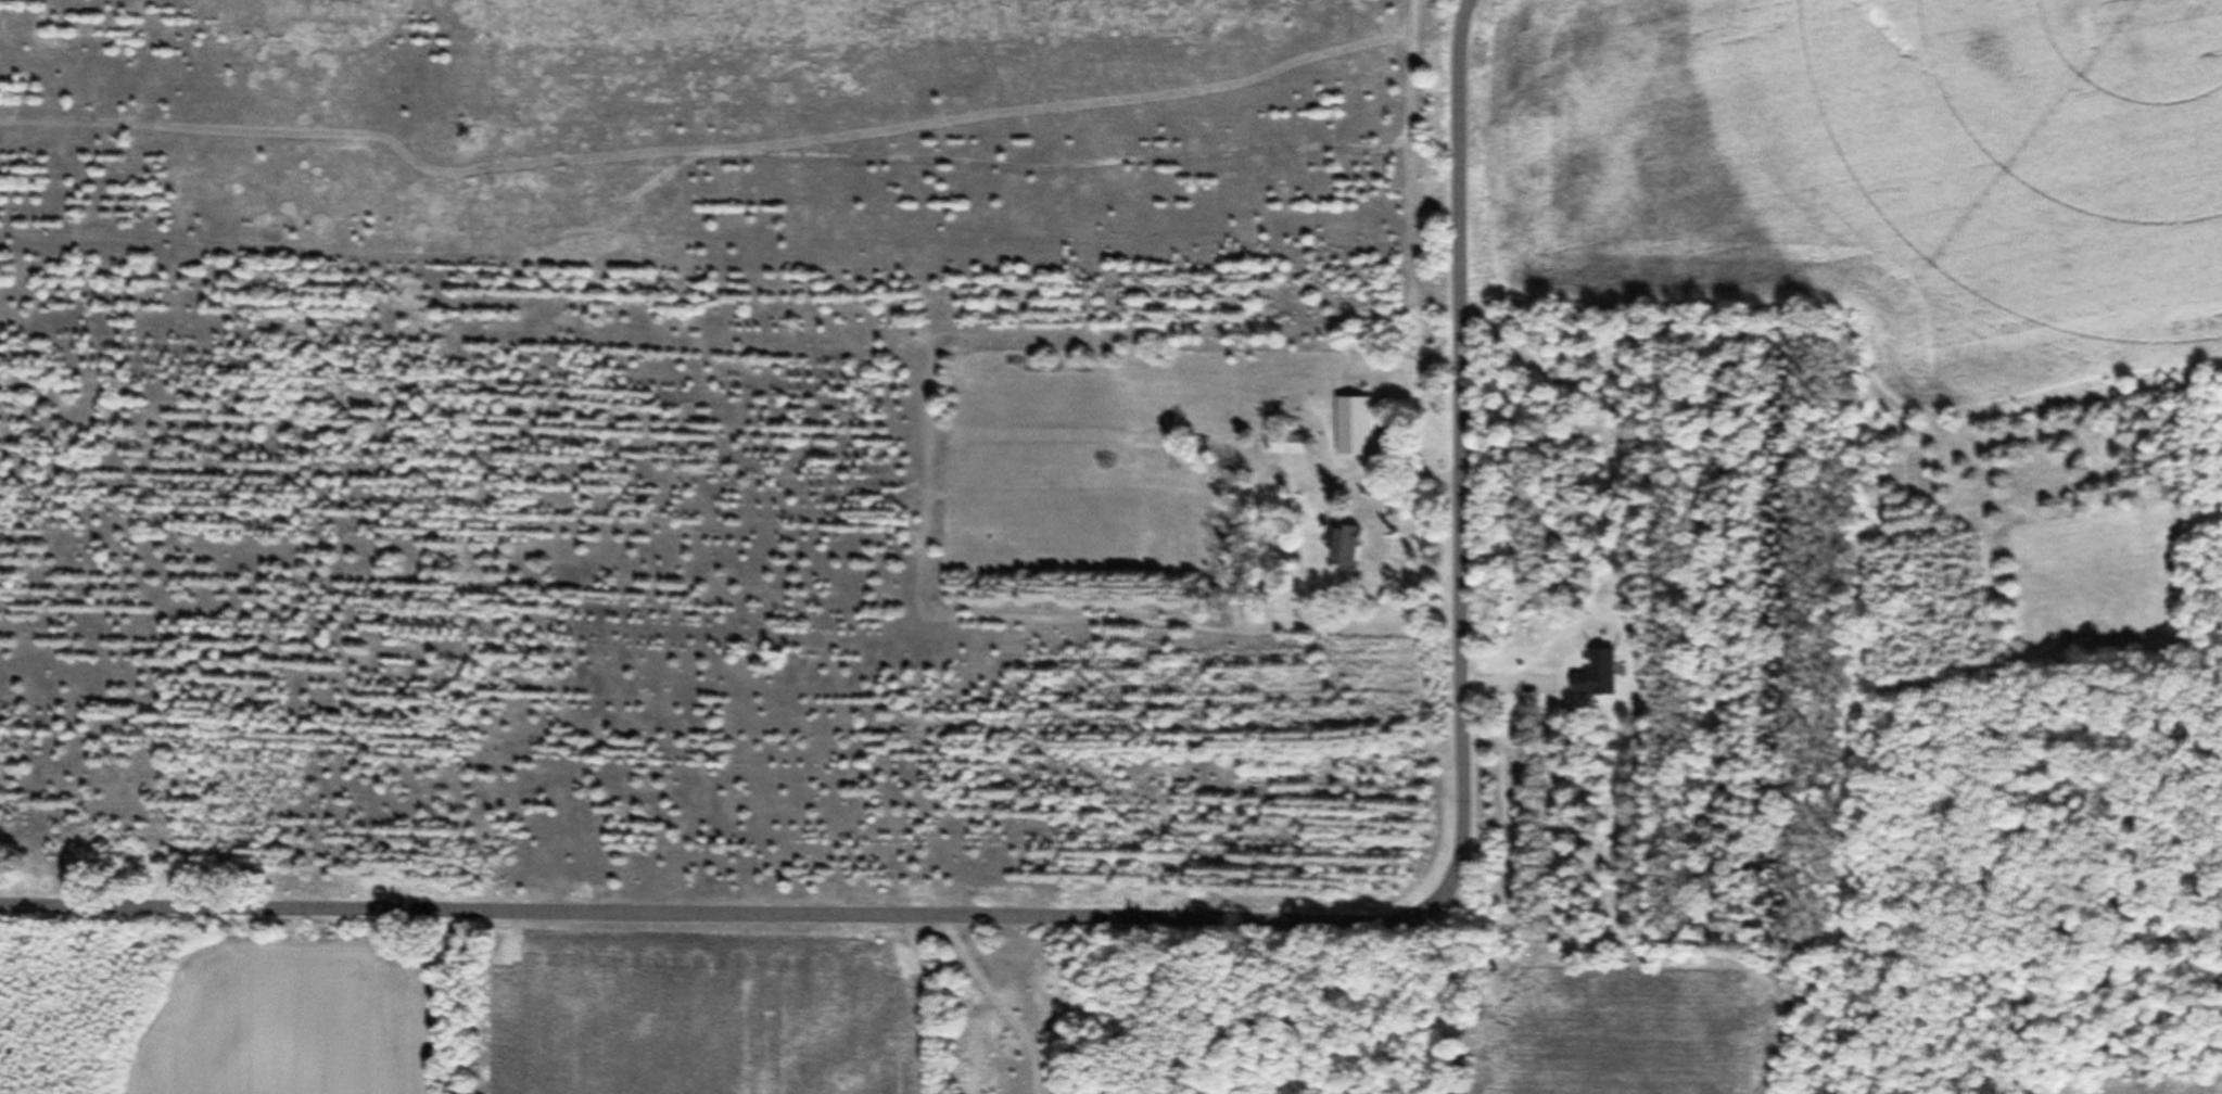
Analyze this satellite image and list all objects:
building: (1354, 435)
building: (1287, 454)
building: (1344, 556)
road: (1185, 931)

